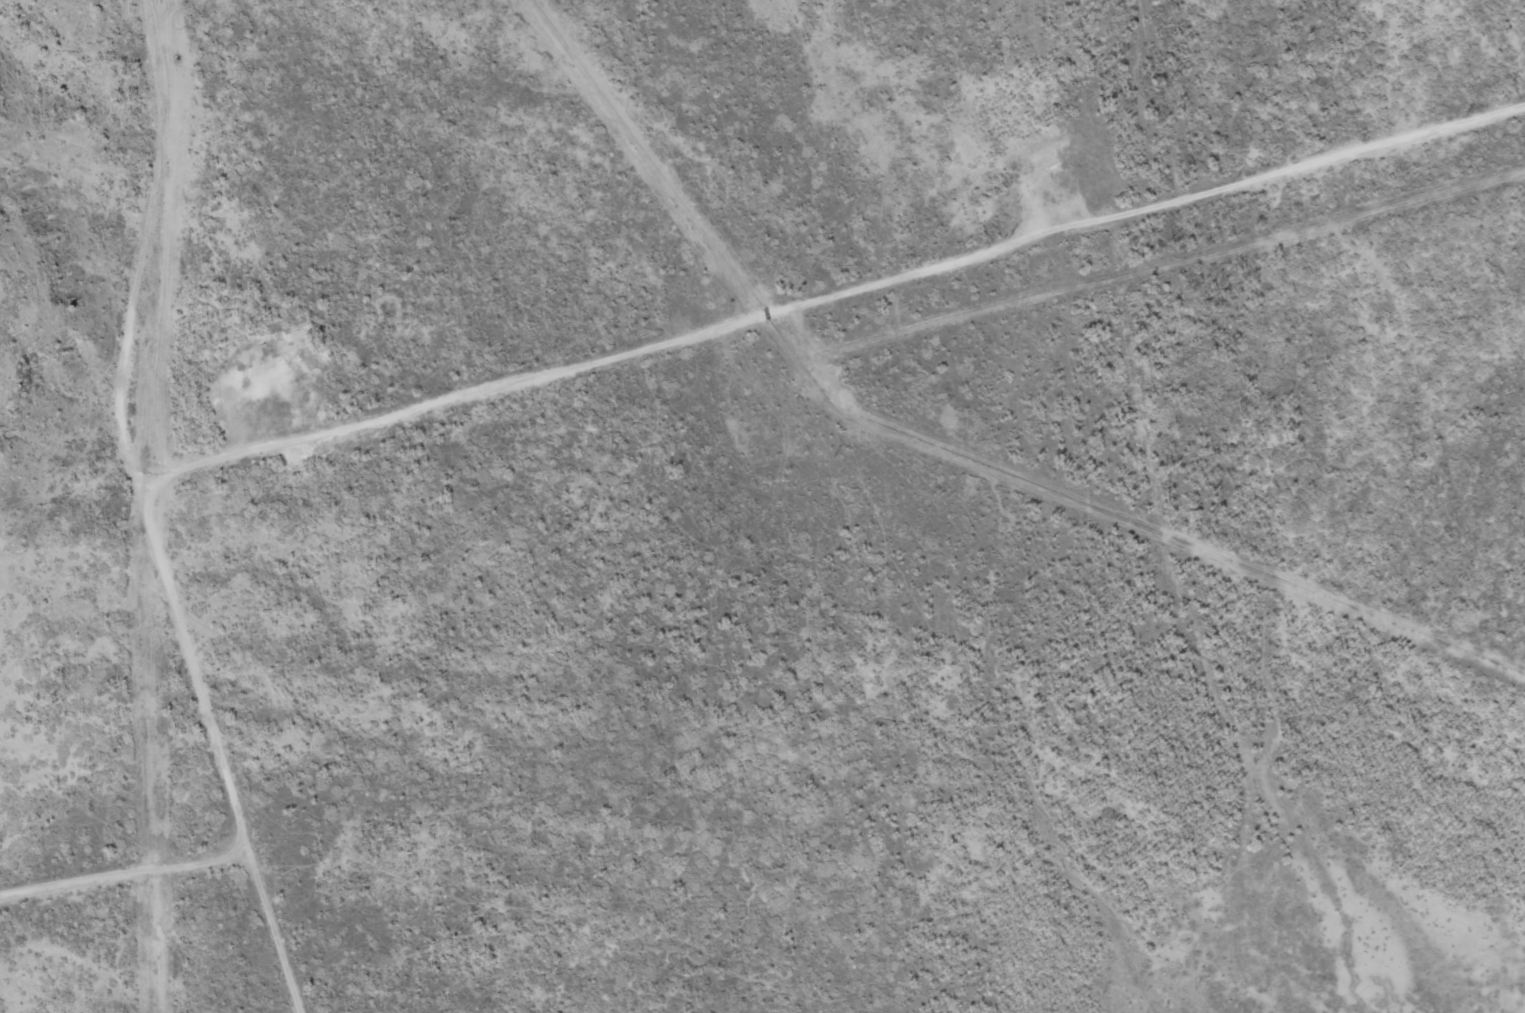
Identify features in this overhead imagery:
road: (50, 10)
road: (835, 294)
road: (149, 432)
road: (126, 874)
road: (274, 932)

